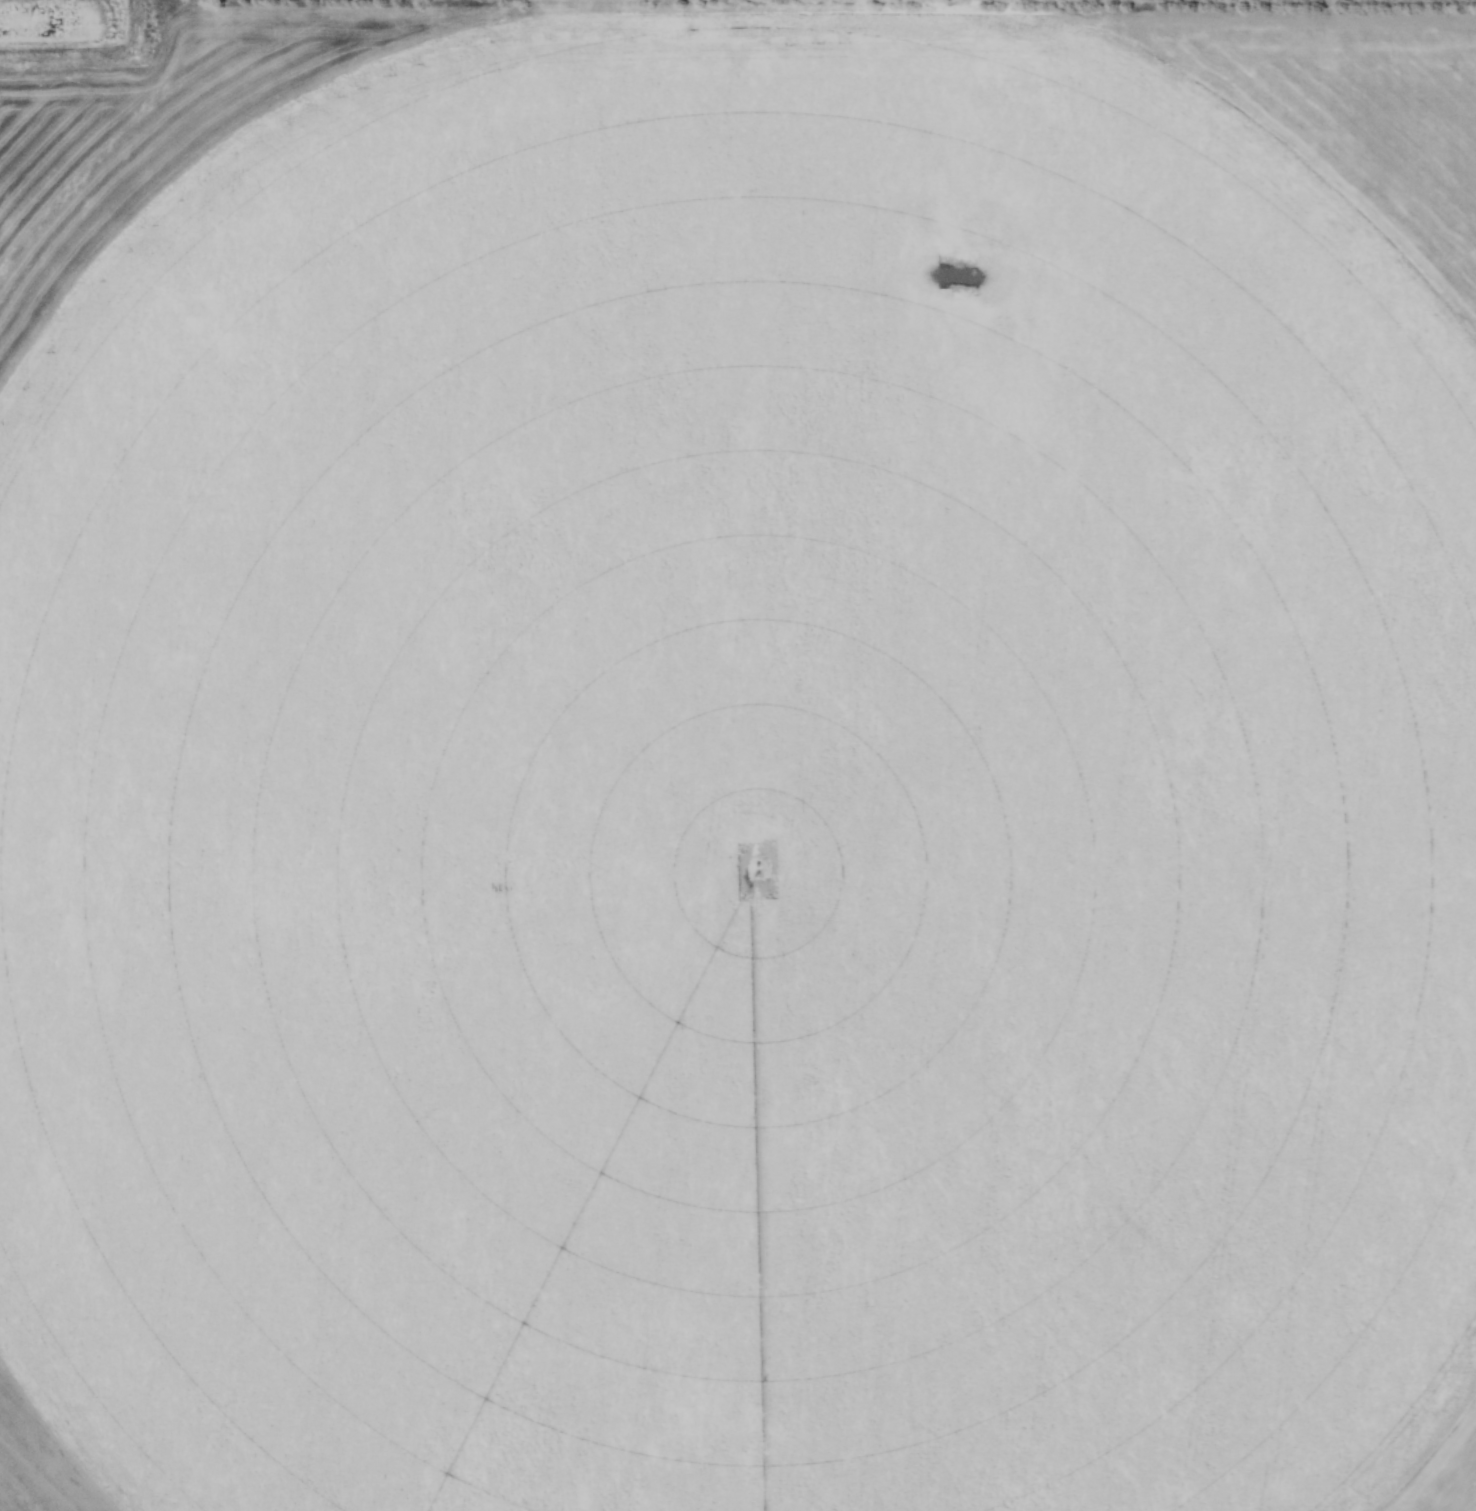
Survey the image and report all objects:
crop: (738, 761)

